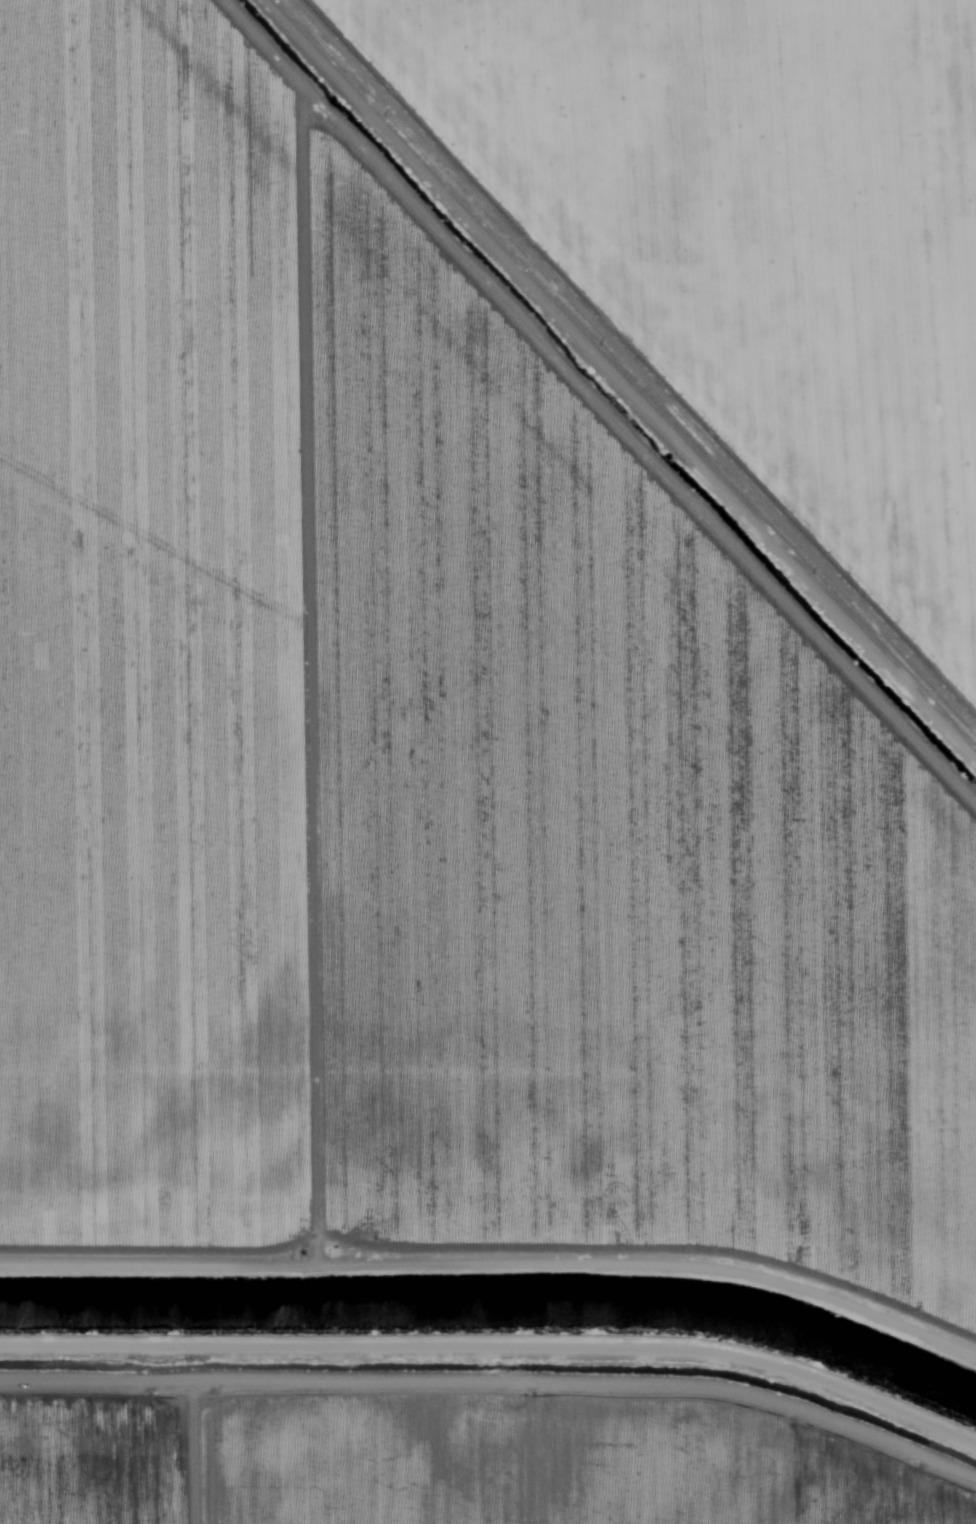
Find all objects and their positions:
road: (647, 349)
crop: (492, 622)
road: (493, 1216)
road: (477, 1415)
crop: (448, 1446)

